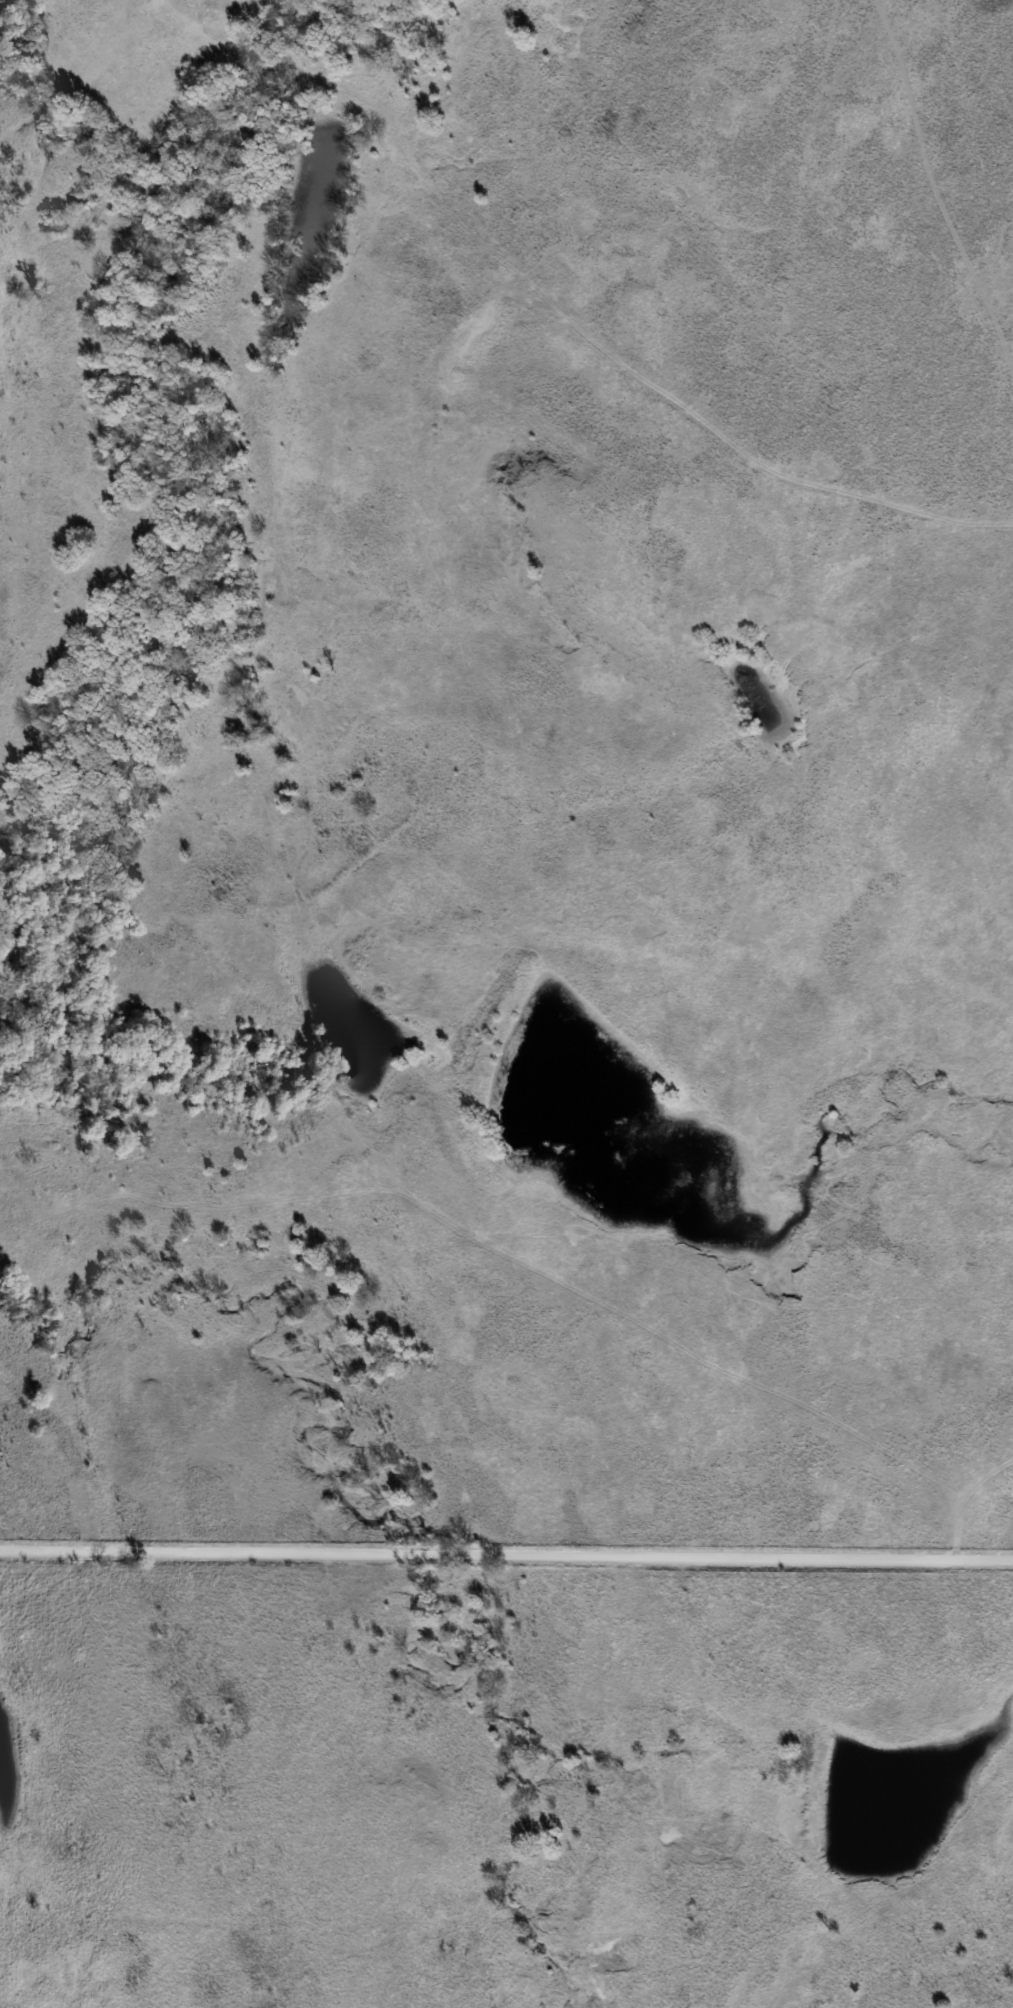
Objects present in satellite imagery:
road: (506, 1553)

